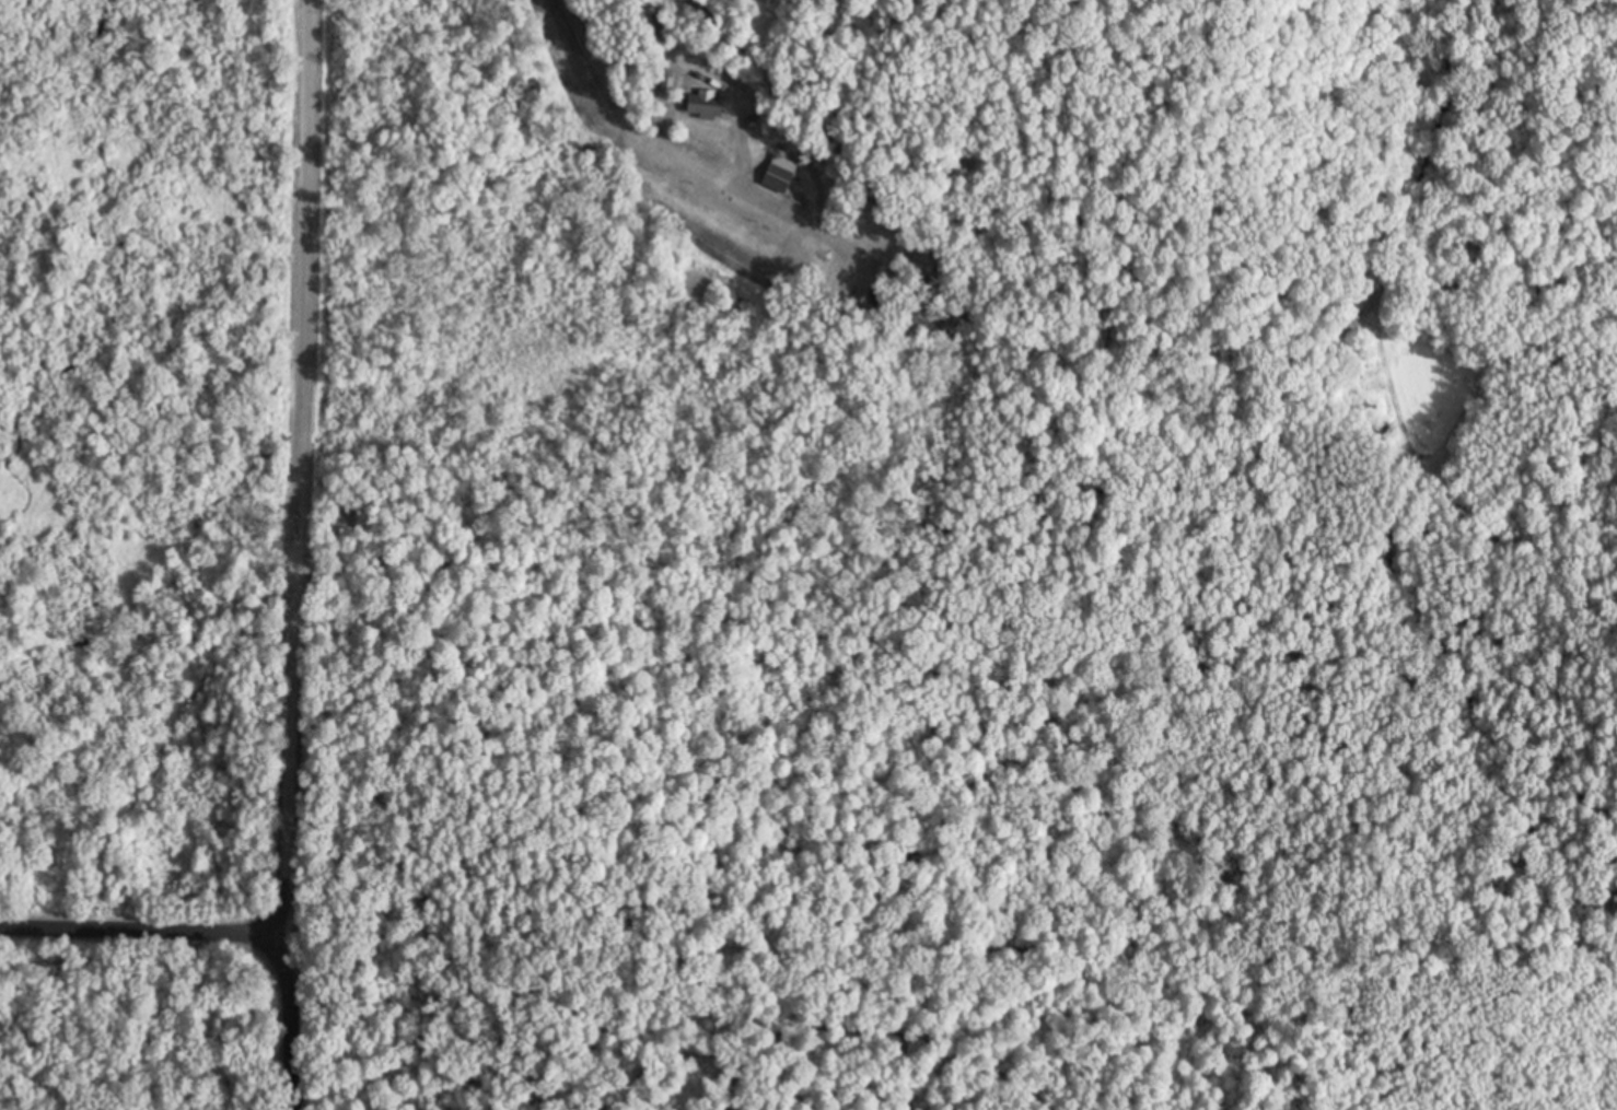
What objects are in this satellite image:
building: (706, 107)
road: (680, 154)
road: (300, 468)
road: (146, 930)
road: (292, 1024)

